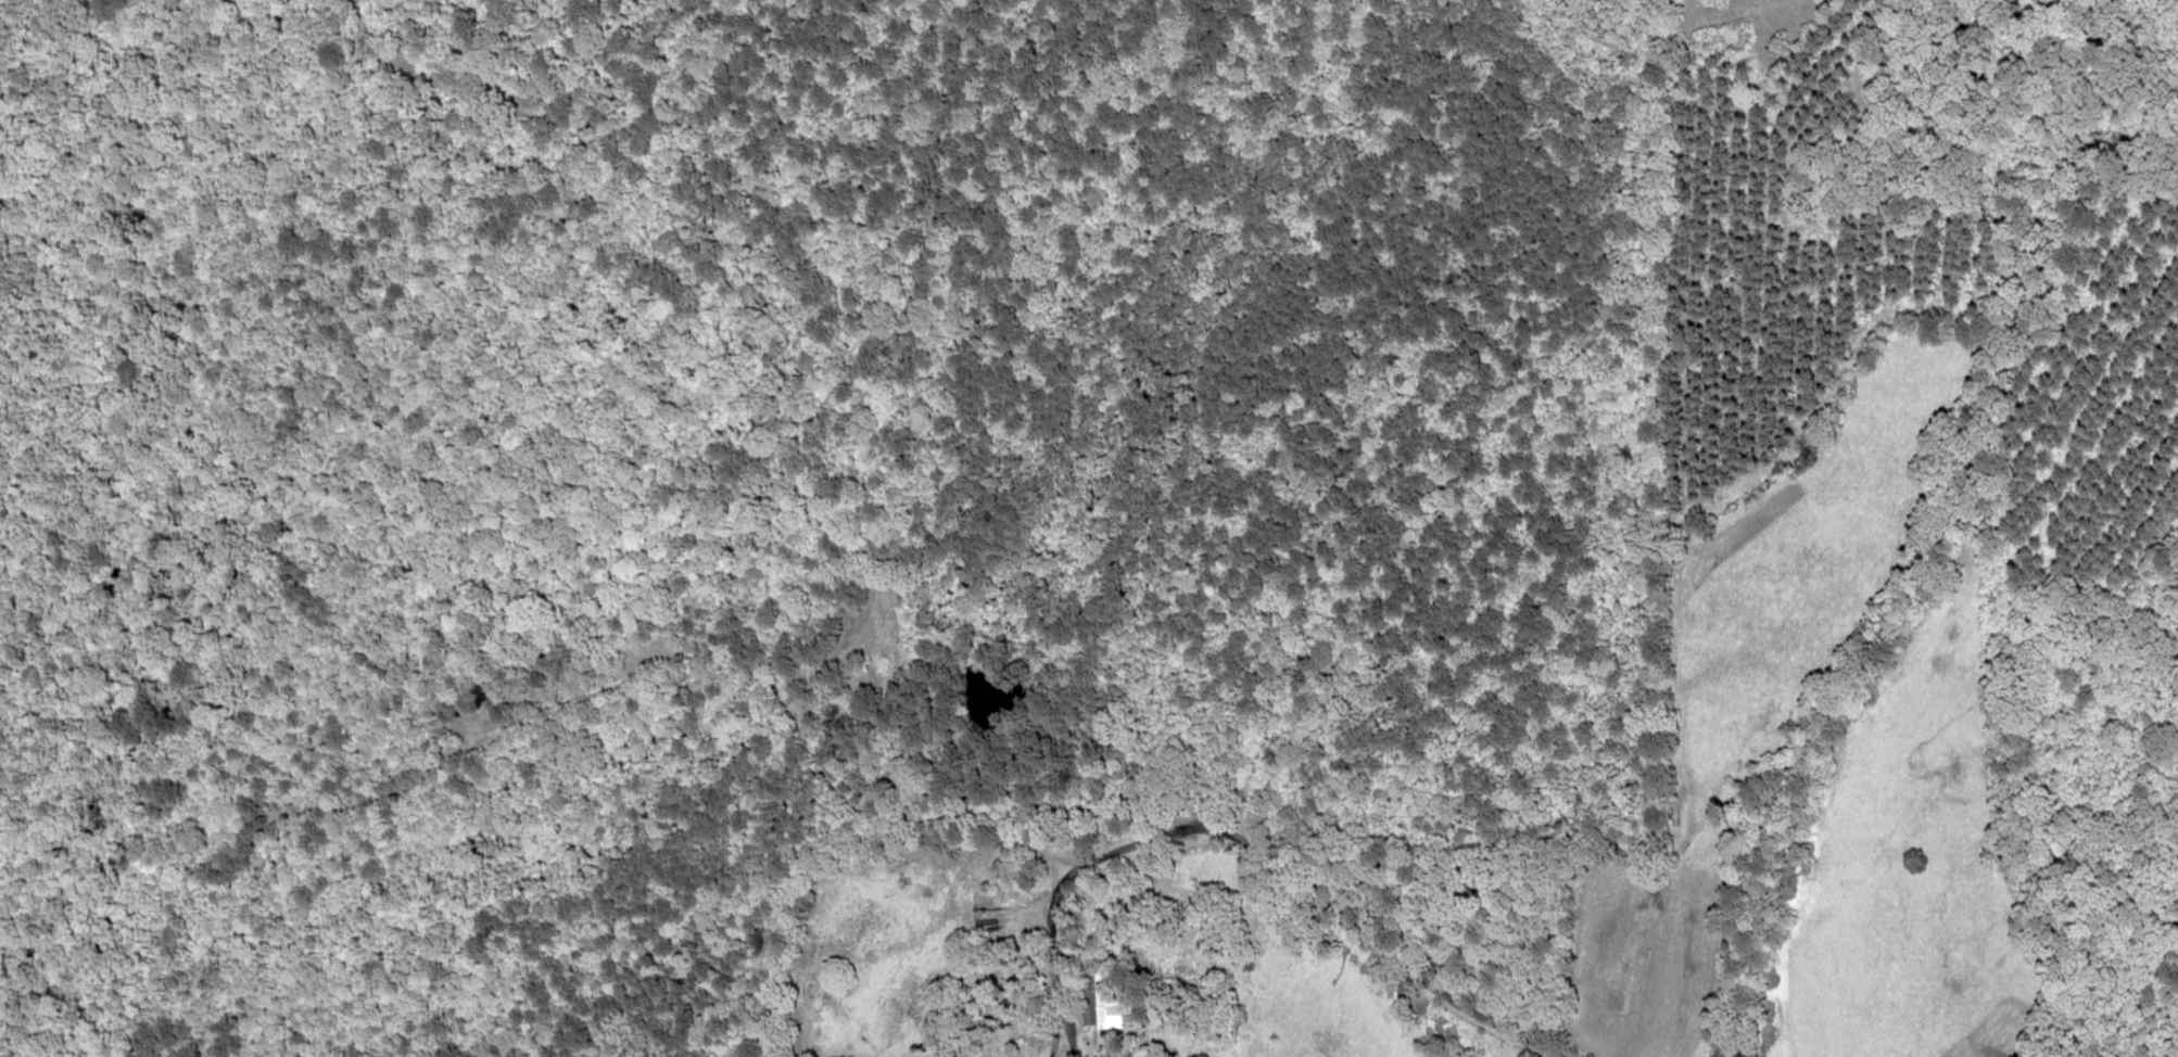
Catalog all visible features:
building: (487, 695)
road: (797, 751)
building: (898, 769)
building: (1100, 993)

